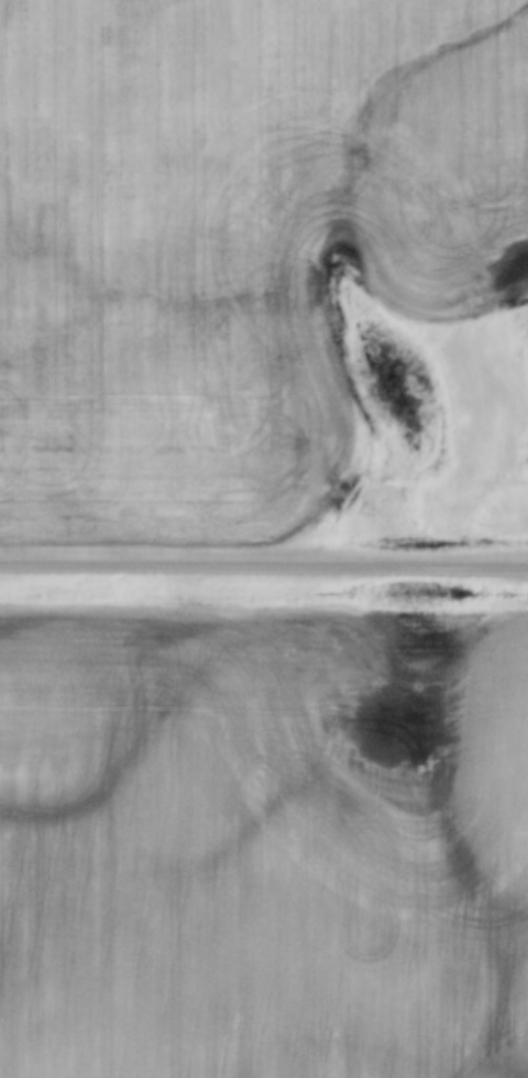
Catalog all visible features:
road: (264, 566)

